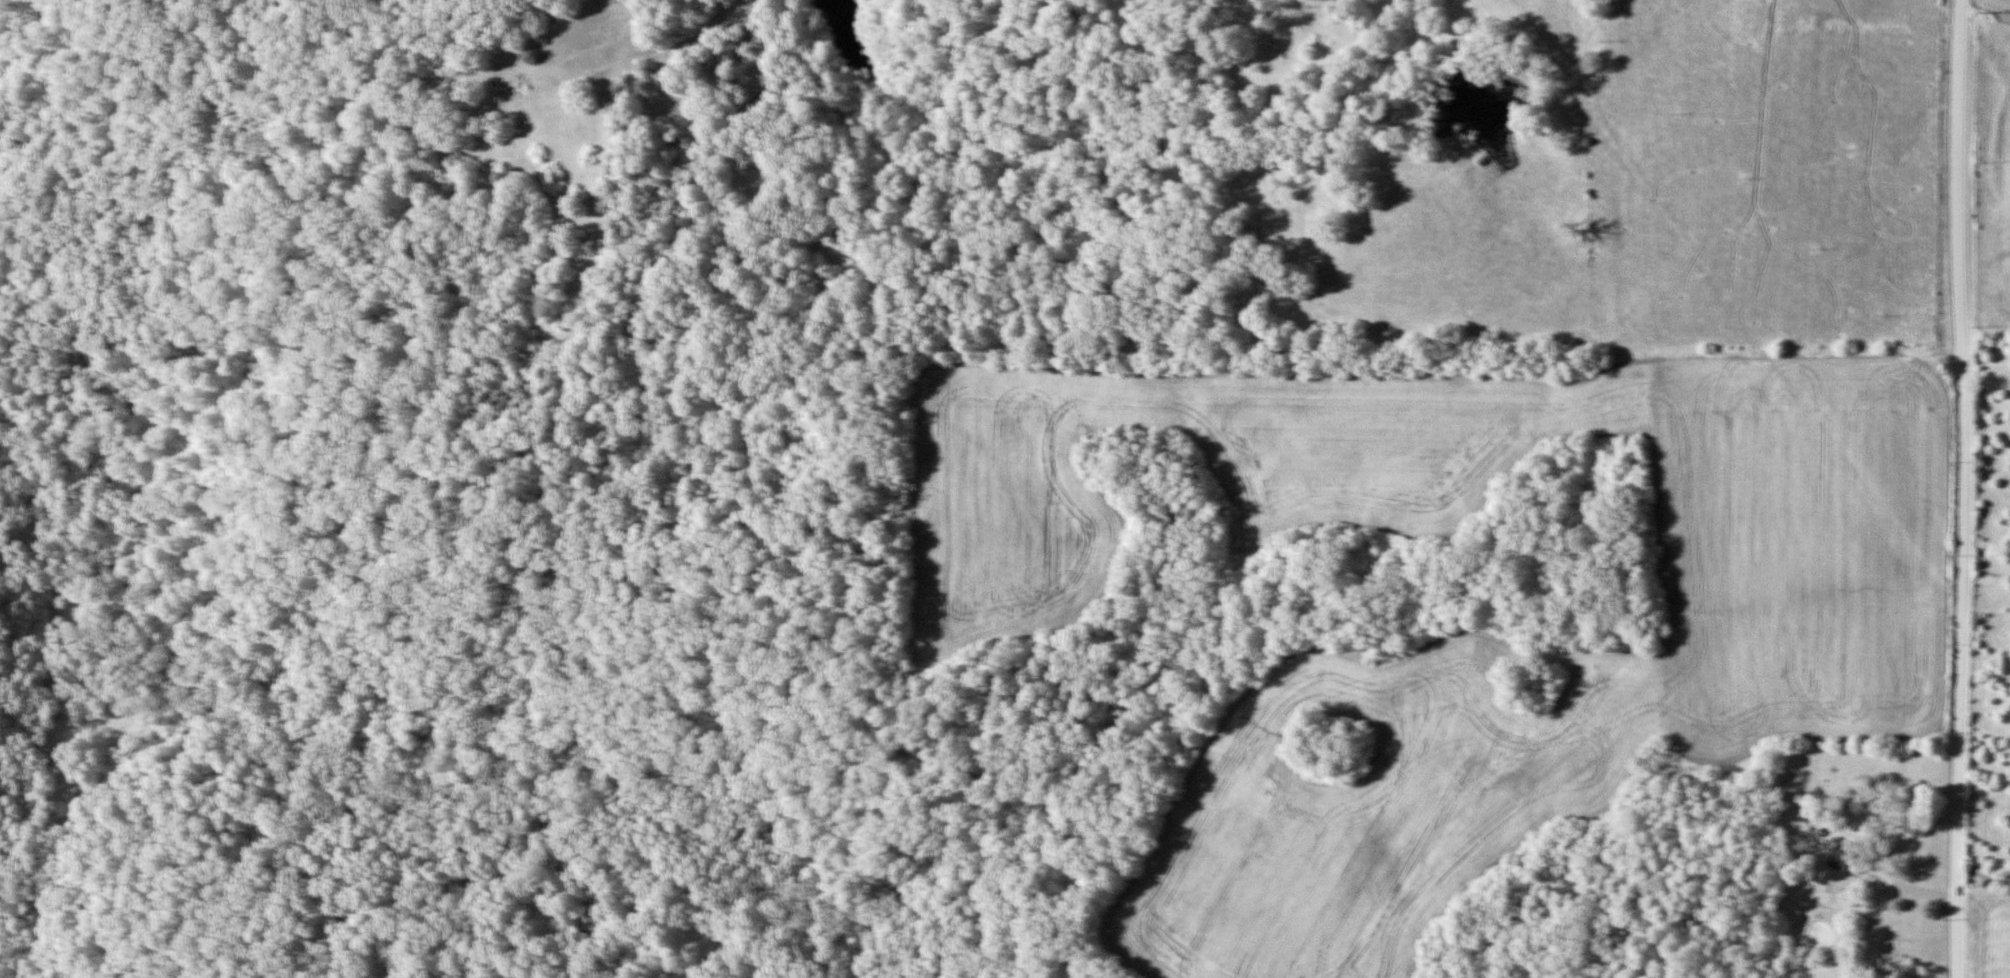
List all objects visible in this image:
road: (1955, 169)
road: (1957, 657)
building: (1841, 854)

